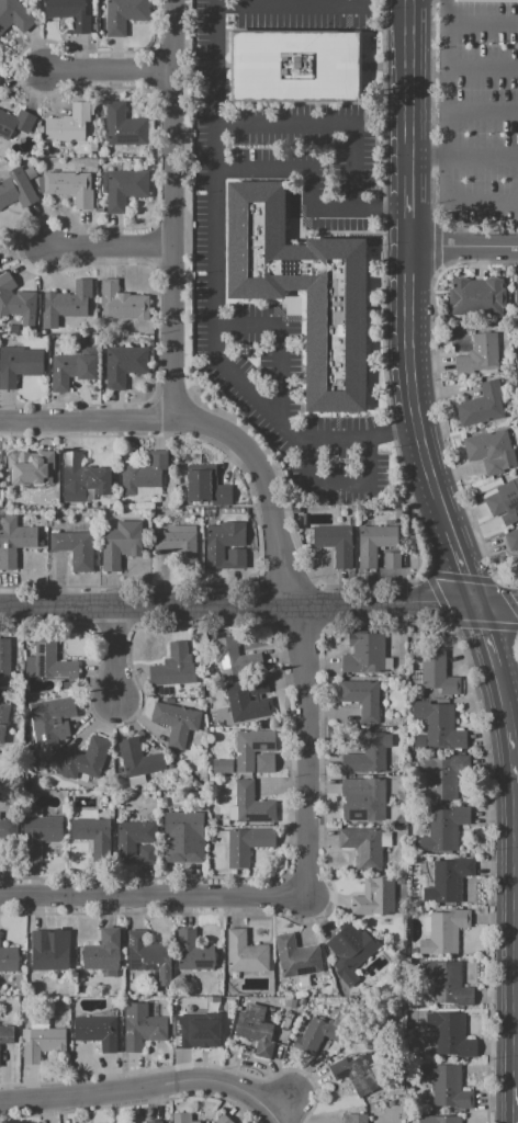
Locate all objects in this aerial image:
building: (68, 13)
building: (122, 15)
building: (14, 16)
road: (481, 23)
flagpole: (370, 39)
flagpole: (370, 48)
building: (292, 67)
road: (481, 68)
road: (112, 72)
road: (444, 104)
parking lot: (476, 107)
road: (481, 115)
road: (354, 123)
road: (408, 123)
building: (14, 124)
building: (67, 125)
building: (124, 126)
road: (215, 162)
road: (463, 163)
road: (305, 167)
building: (16, 188)
building: (70, 188)
building: (123, 190)
road: (481, 208)
road: (174, 211)
road: (462, 246)
road: (109, 248)
building: (334, 293)
building: (462, 297)
building: (489, 297)
building: (516, 299)
building: (70, 300)
building: (16, 302)
building: (120, 303)
road: (279, 338)
building: (478, 356)
building: (19, 365)
building: (123, 365)
building: (70, 370)
road: (384, 384)
road: (409, 390)
building: (482, 406)
road: (87, 421)
road: (392, 433)
road: (335, 435)
building: (489, 451)
building: (32, 473)
building: (143, 476)
building: (81, 478)
road: (339, 483)
road: (264, 486)
building: (205, 487)
building: (503, 498)
building: (106, 514)
building: (511, 540)
building: (14, 541)
building: (222, 541)
building: (334, 544)
building: (373, 544)
building: (117, 545)
building: (182, 546)
building: (74, 549)
building: (236, 559)
building: (391, 561)
road: (461, 565)
road: (427, 579)
road: (305, 591)
traffic signals: (475, 601)
road: (496, 601)
road: (237, 602)
road: (489, 650)
road: (115, 651)
building: (364, 653)
building: (232, 656)
building: (4, 658)
building: (48, 663)
building: (390, 663)
building: (170, 667)
building: (437, 673)
building: (416, 676)
building: (257, 685)
building: (361, 699)
building: (245, 703)
building: (52, 716)
building: (2, 717)
building: (174, 722)
building: (221, 723)
building: (438, 724)
building: (250, 747)
road: (307, 748)
building: (368, 753)
building: (138, 759)
building: (85, 760)
building: (169, 763)
building: (264, 763)
building: (221, 767)
building: (439, 776)
building: (137, 781)
building: (367, 794)
building: (391, 799)
building: (251, 805)
building: (33, 813)
building: (232, 813)
building: (215, 817)
building: (401, 819)
building: (4, 829)
building: (443, 829)
building: (91, 832)
building: (37, 835)
building: (222, 835)
building: (182, 836)
building: (211, 839)
building: (386, 839)
building: (125, 844)
building: (246, 846)
building: (362, 846)
building: (447, 880)
building: (399, 881)
road: (154, 894)
building: (374, 897)
road: (517, 910)
building: (444, 932)
building: (349, 951)
building: (413, 951)
building: (101, 952)
building: (142, 952)
building: (192, 952)
building: (47, 953)
building: (244, 954)
building: (295, 956)
building: (8, 960)
building: (447, 983)
building: (142, 1028)
building: (200, 1029)
building: (97, 1031)
building: (5, 1034)
building: (450, 1034)
building: (255, 1035)
building: (317, 1035)
building: (41, 1044)
building: (354, 1074)
building: (447, 1086)
road: (139, 1087)
road: (283, 1101)
road: (275, 1116)
building: (181, 1118)
building: (353, 1119)
building: (439, 1119)
building: (223, 1120)
building: (155, 1122)

